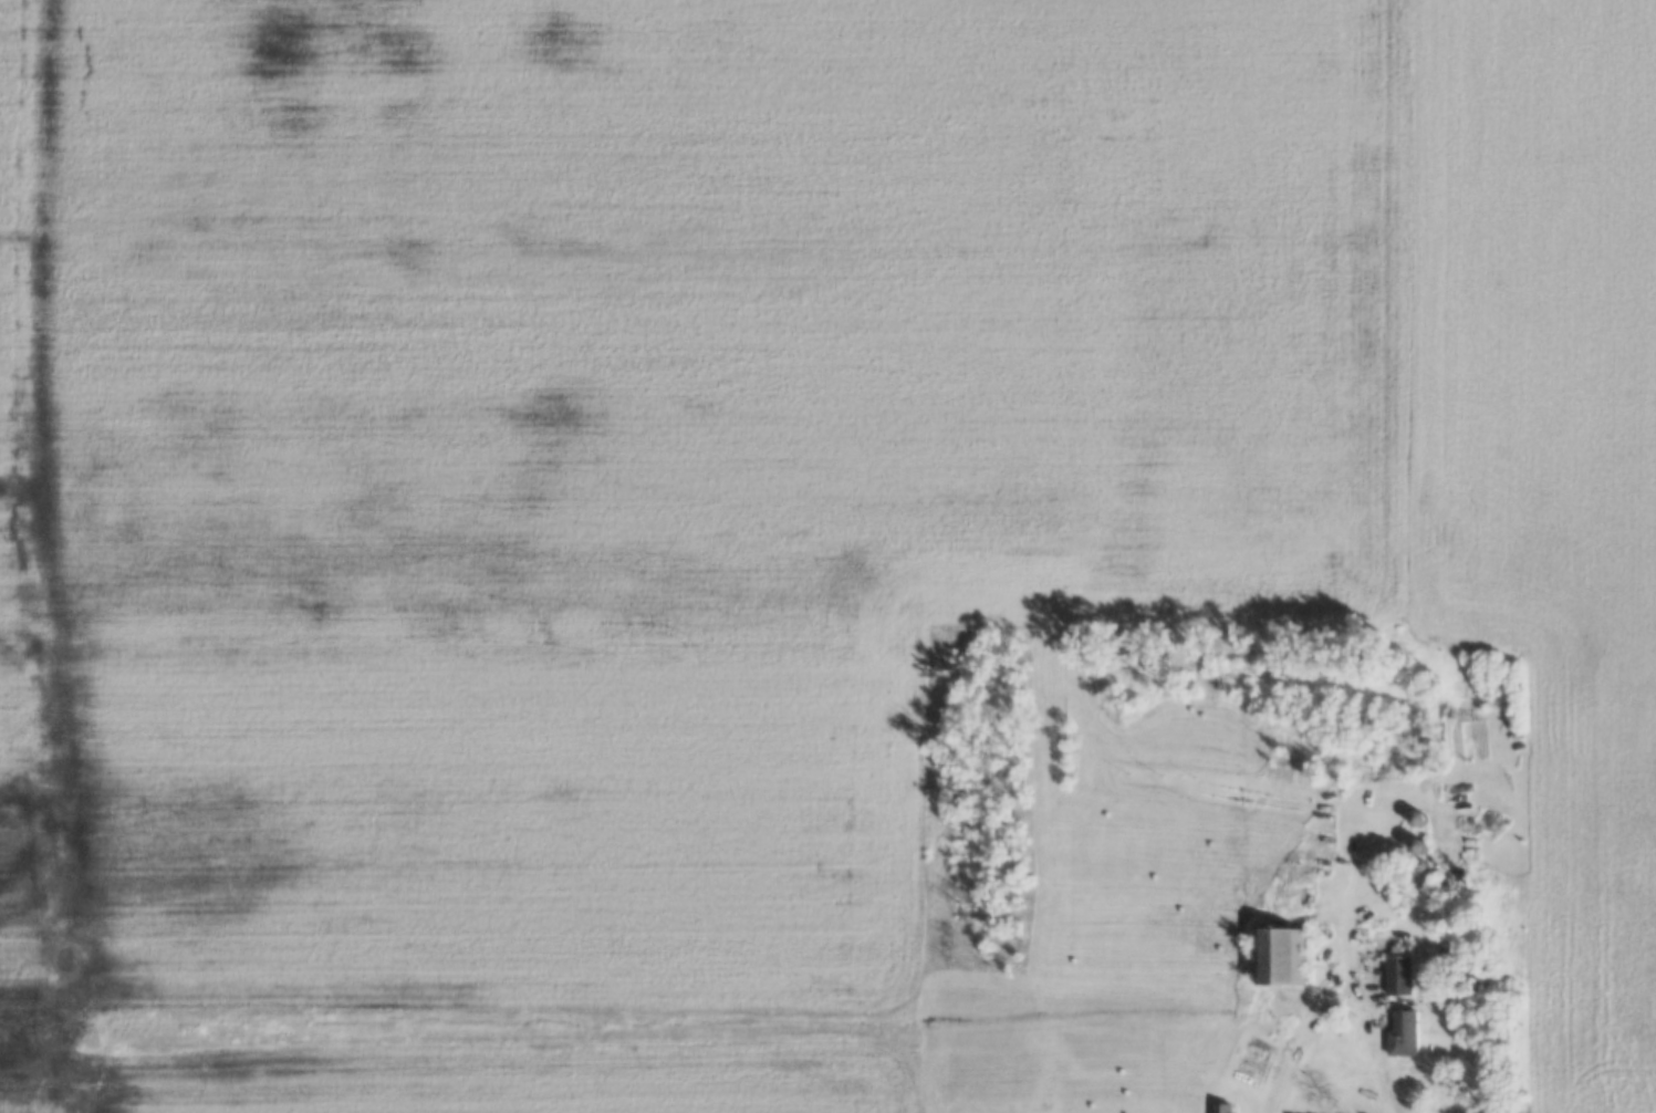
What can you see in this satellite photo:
building: (1279, 957)
building: (1397, 977)
building: (1402, 1034)
road: (1304, 1046)
road: (1387, 1093)
building: (1222, 1107)

